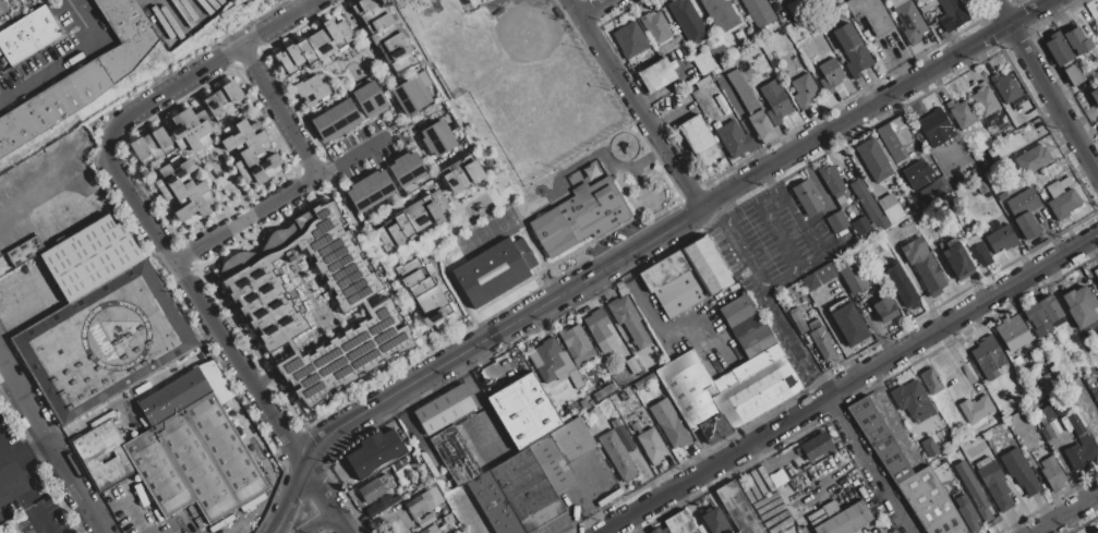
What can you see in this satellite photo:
building: (771, 0)
building: (930, 0)
building: (365, 7)
road: (591, 7)
building: (759, 12)
building: (721, 14)
building: (373, 15)
building: (870, 15)
building: (952, 15)
building: (688, 21)
building: (909, 23)
building: (378, 25)
building: (656, 27)
building: (345, 32)
building: (27, 35)
building: (335, 35)
building: (383, 35)
road: (1017, 35)
building: (629, 39)
building: (1076, 40)
building: (321, 44)
building: (395, 48)
building: (1058, 49)
building: (852, 51)
building: (306, 52)
building: (717, 52)
building: (295, 56)
building: (285, 61)
road: (68, 62)
road: (370, 63)
building: (403, 64)
road: (204, 65)
building: (656, 75)
building: (830, 75)
building: (1074, 75)
building: (83, 77)
park: (529, 78)
building: (739, 86)
building: (1005, 87)
building: (311, 90)
building: (804, 92)
building: (233, 94)
building: (1095, 95)
building: (412, 96)
building: (371, 99)
building: (985, 100)
building: (224, 101)
building: (775, 102)
road: (636, 105)
building: (213, 109)
road: (277, 111)
building: (961, 113)
road: (671, 114)
road: (1065, 119)
building: (336, 121)
road: (418, 121)
building: (933, 124)
building: (760, 126)
building: (1097, 126)
building: (191, 131)
building: (733, 137)
building: (437, 138)
building: (895, 138)
building: (162, 141)
building: (700, 142)
railway: (39, 143)
building: (1013, 144)
building: (152, 146)
park: (532, 146)
building: (140, 152)
building: (250, 152)
road: (351, 158)
building: (876, 159)
building: (1034, 159)
building: (407, 169)
building: (472, 169)
road: (1096, 170)
building: (460, 173)
building: (917, 174)
building: (450, 180)
building: (831, 180)
building: (981, 187)
building: (933, 190)
building: (183, 191)
building: (370, 191)
road: (472, 195)
building: (807, 196)
building: (1002, 197)
building: (1063, 198)
building: (438, 199)
building: (889, 203)
building: (431, 207)
building: (869, 207)
building: (1024, 213)
building: (417, 216)
building: (579, 216)
road: (242, 220)
road: (685, 220)
building: (836, 222)
building: (861, 226)
building: (403, 227)
building: (394, 232)
road: (774, 233)
road: (811, 238)
building: (385, 239)
building: (1001, 239)
road: (739, 245)
building: (26, 251)
building: (980, 255)
building: (92, 257)
building: (957, 259)
building: (922, 266)
building: (407, 268)
building: (1096, 271)
building: (496, 272)
building: (687, 277)
building: (853, 277)
building: (413, 278)
road: (912, 279)
building: (810, 282)
building: (422, 287)
building: (901, 287)
road: (190, 293)
building: (431, 301)
building: (266, 305)
building: (1079, 306)
building: (884, 310)
building: (1051, 311)
road: (411, 315)
building: (438, 315)
building: (741, 316)
building: (1037, 318)
building: (445, 323)
building: (628, 323)
building: (848, 324)
building: (602, 331)
road: (662, 332)
road: (311, 334)
building: (1013, 334)
building: (102, 340)
building: (821, 340)
building: (756, 341)
road: (796, 343)
building: (577, 346)
building: (988, 358)
building: (551, 362)
building: (634, 367)
building: (1046, 381)
building: (931, 383)
road: (849, 385)
building: (728, 390)
building: (185, 392)
building: (602, 392)
building: (913, 402)
building: (444, 409)
road: (482, 409)
building: (976, 409)
building: (526, 412)
building: (669, 424)
building: (1075, 424)
building: (619, 429)
building: (572, 439)
building: (879, 439)
road: (49, 446)
building: (652, 446)
building: (817, 446)
road: (38, 447)
building: (929, 448)
building: (1079, 452)
building: (102, 455)
building: (374, 455)
road: (307, 456)
building: (455, 457)
building: (617, 457)
road: (20, 459)
building: (196, 461)
road: (7, 463)
building: (552, 463)
road: (301, 464)
road: (870, 465)
building: (1021, 473)
building: (1051, 474)
building: (777, 477)
road: (7, 479)
building: (949, 479)
road: (297, 480)
building: (994, 484)
building: (383, 489)
building: (526, 489)
building: (974, 490)
road: (581, 498)
building: (930, 502)
building: (494, 505)
road: (24, 506)
building: (378, 506)
building: (427, 506)
building: (737, 509)
road: (331, 510)
road: (282, 513)
building: (966, 513)
road: (1069, 516)
building: (846, 520)
building: (714, 521)
road: (317, 522)
building: (679, 523)
building: (431, 530)
building: (659, 531)
building: (667, 532)
building: (1096, 532)

